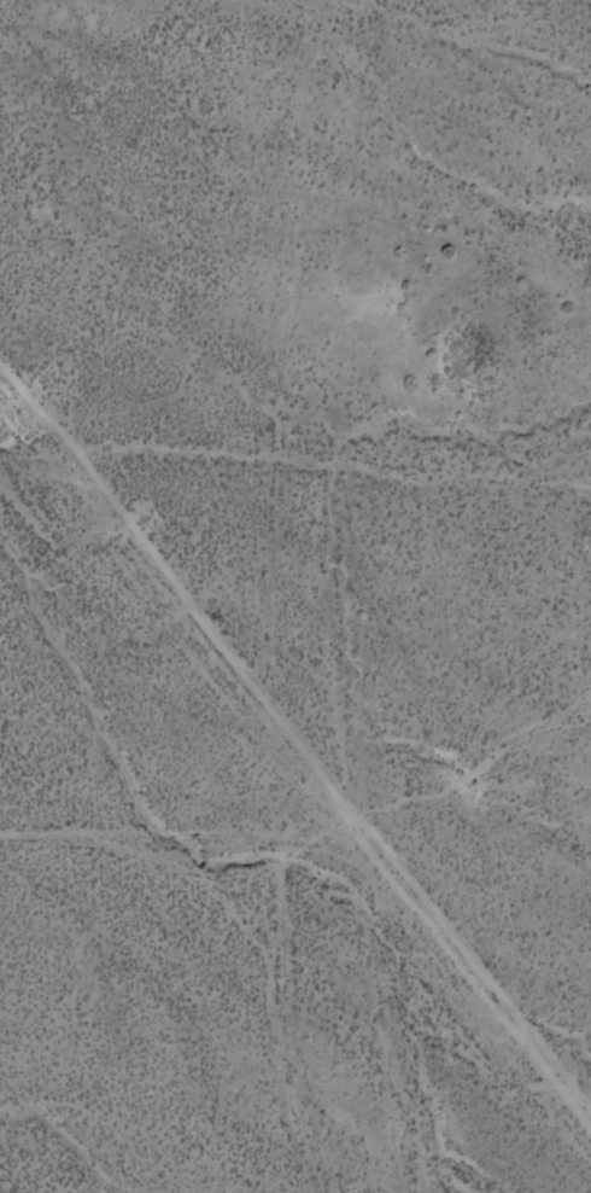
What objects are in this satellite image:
road: (293, 733)

